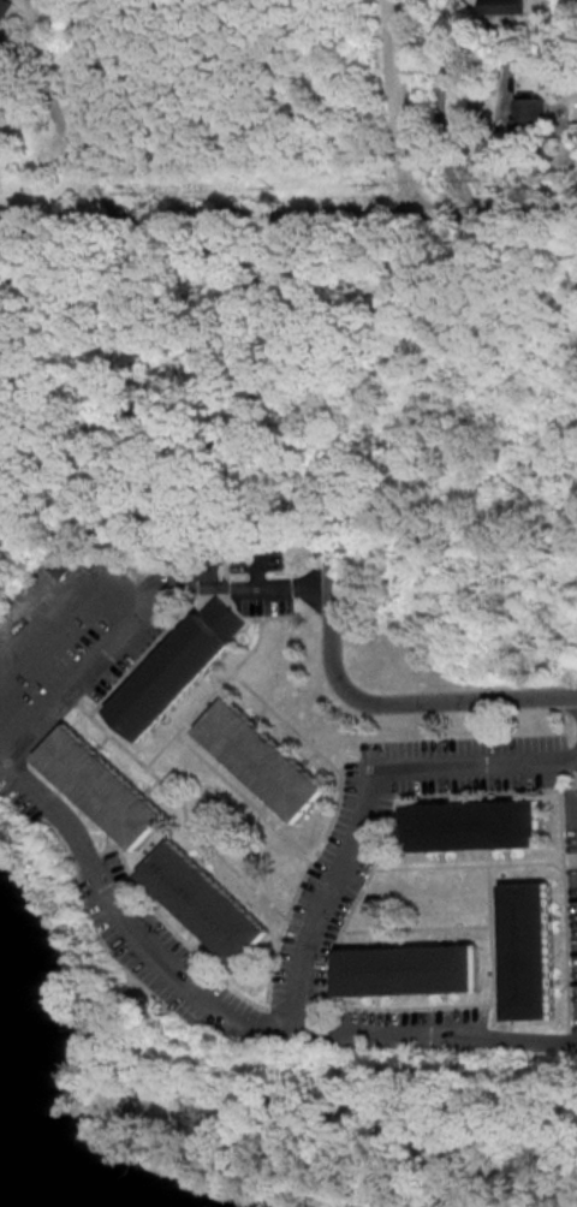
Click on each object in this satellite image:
building: (500, 5)
building: (5, 31)
road: (474, 37)
road: (97, 87)
road: (50, 90)
road: (399, 103)
building: (534, 111)
road: (103, 196)
road: (287, 210)
road: (66, 546)
building: (58, 566)
road: (228, 587)
road: (263, 616)
road: (52, 637)
parking lot: (60, 638)
building: (177, 667)
road: (125, 668)
road: (72, 685)
road: (207, 694)
road: (381, 701)
road: (284, 720)
road: (2, 755)
building: (262, 757)
road: (365, 781)
building: (101, 784)
road: (487, 790)
road: (242, 795)
road: (368, 801)
road: (183, 815)
building: (475, 824)
road: (93, 852)
road: (468, 863)
parking lot: (338, 866)
parking lot: (571, 890)
building: (206, 900)
road: (415, 927)
building: (528, 950)
parking lot: (167, 962)
building: (409, 968)
road: (269, 1001)
road: (477, 1003)
road: (298, 1005)
road: (232, 1013)
parking lot: (406, 1023)
road: (569, 1033)
road: (539, 1104)
park: (344, 1130)
road: (559, 1175)
river: (1, 1206)

